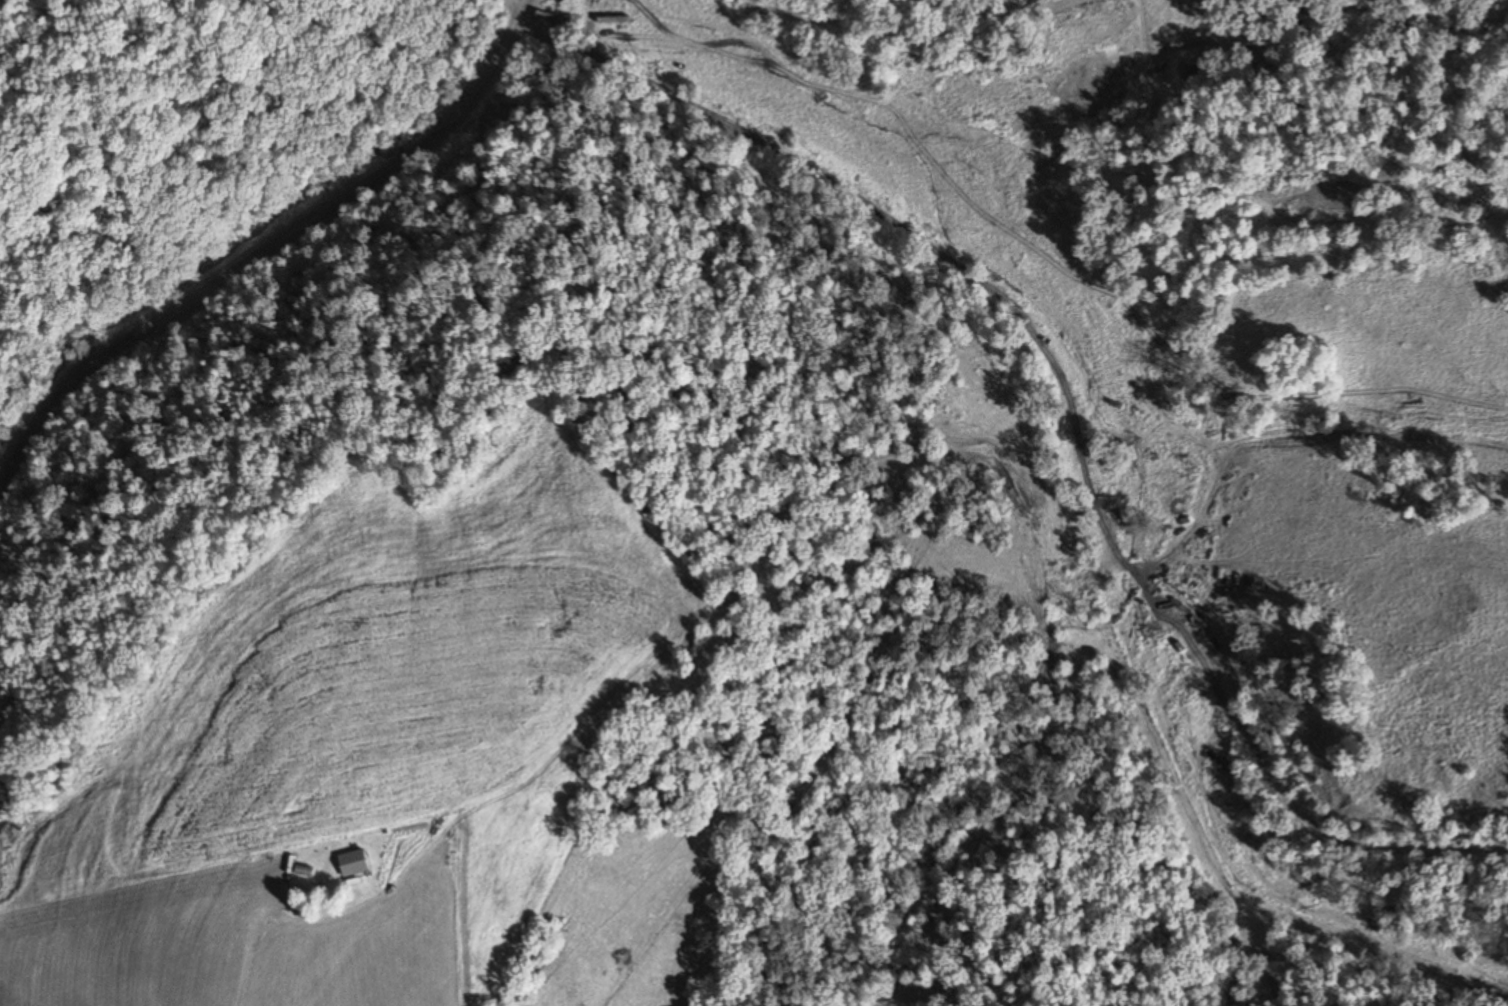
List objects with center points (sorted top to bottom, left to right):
road: (279, 279)
road: (1028, 489)
building: (350, 863)
building: (302, 867)
road: (468, 923)

